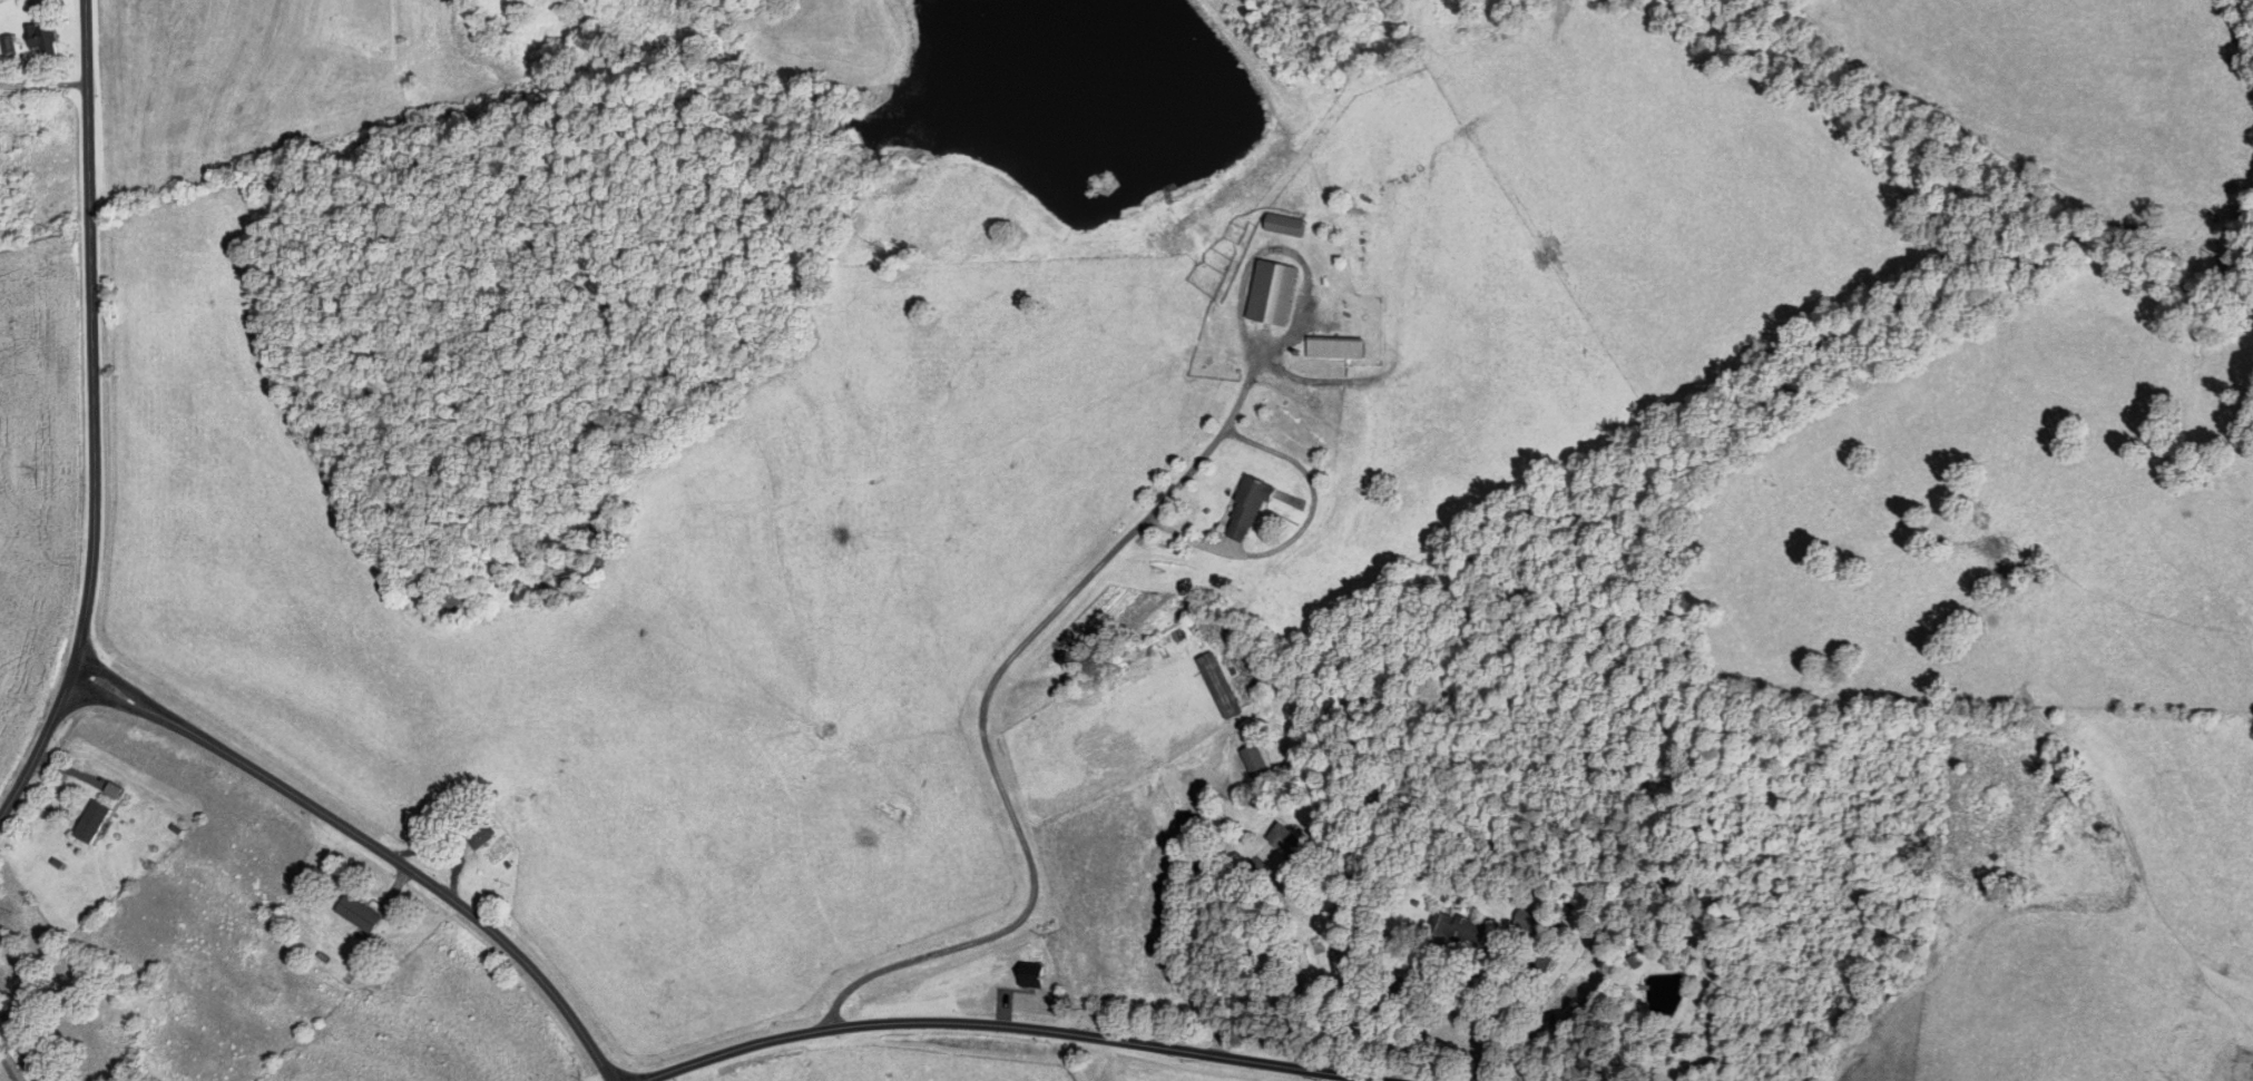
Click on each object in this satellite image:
building: (42, 39)
building: (1272, 293)
building: (1335, 347)
road: (91, 417)
road: (1197, 458)
building: (1248, 508)
building: (1219, 686)
building: (1213, 818)
building: (92, 822)
building: (479, 833)
road: (369, 843)
building: (1292, 845)
building: (359, 914)
building: (1526, 920)
road: (1005, 930)
building: (1459, 930)
road: (1192, 938)
road: (866, 1023)
road: (6, 1024)
building: (2237, 1055)
road: (1244, 1057)
building: (12, 1068)

